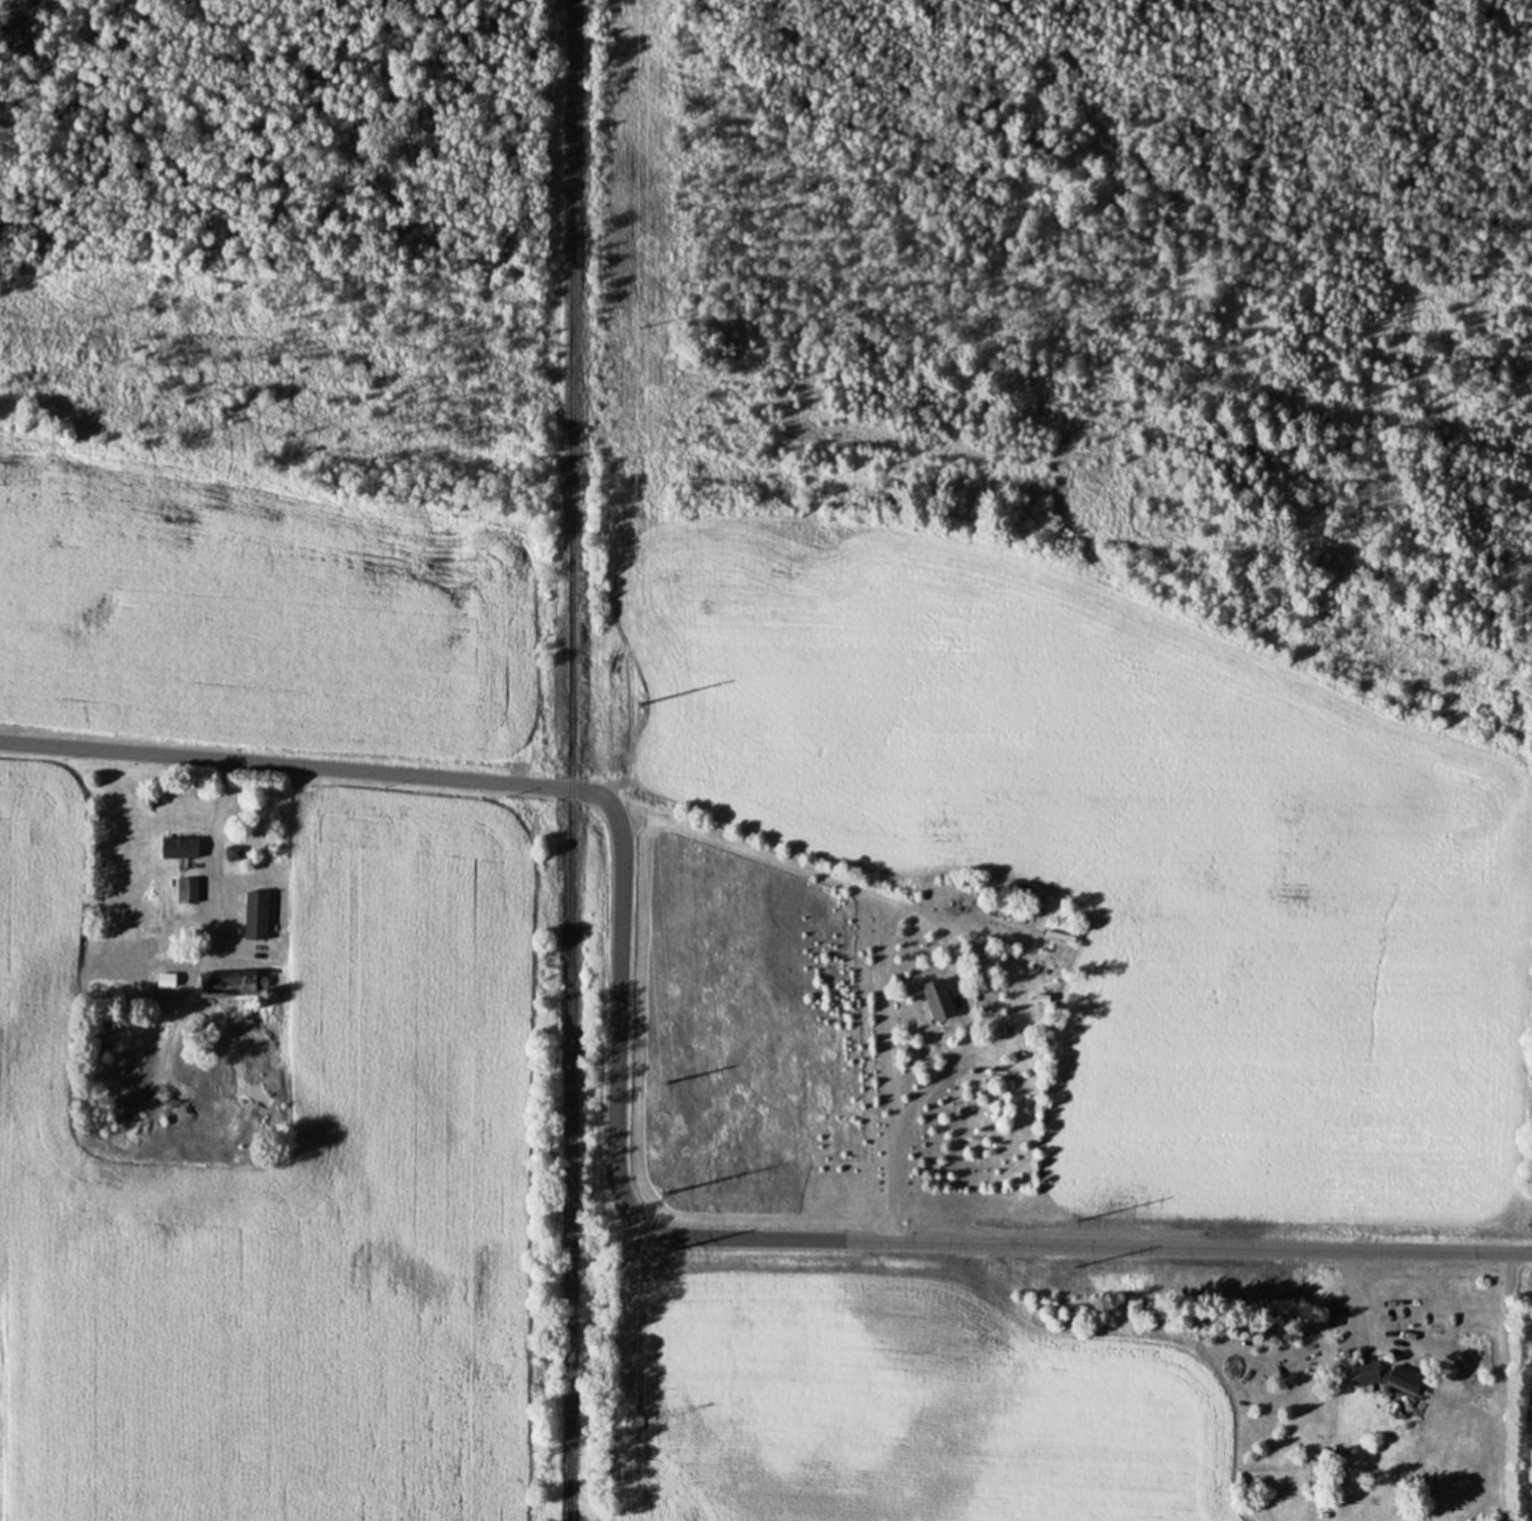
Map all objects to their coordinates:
power tower: (637, 326)
power tower: (634, 709)
railway: (570, 760)
road: (217, 816)
building: (178, 848)
building: (230, 852)
building: (186, 891)
building: (262, 904)
building: (223, 987)
building: (936, 999)
power tower: (661, 1082)
road: (895, 1130)
road: (614, 1158)
power tower: (657, 1192)
power tower: (1073, 1217)
power tower: (1527, 1221)
power tower: (640, 1255)
power tower: (1070, 1262)
power tower: (1531, 1269)
road: (1351, 1287)
building: (1388, 1376)
power tower: (636, 1420)

